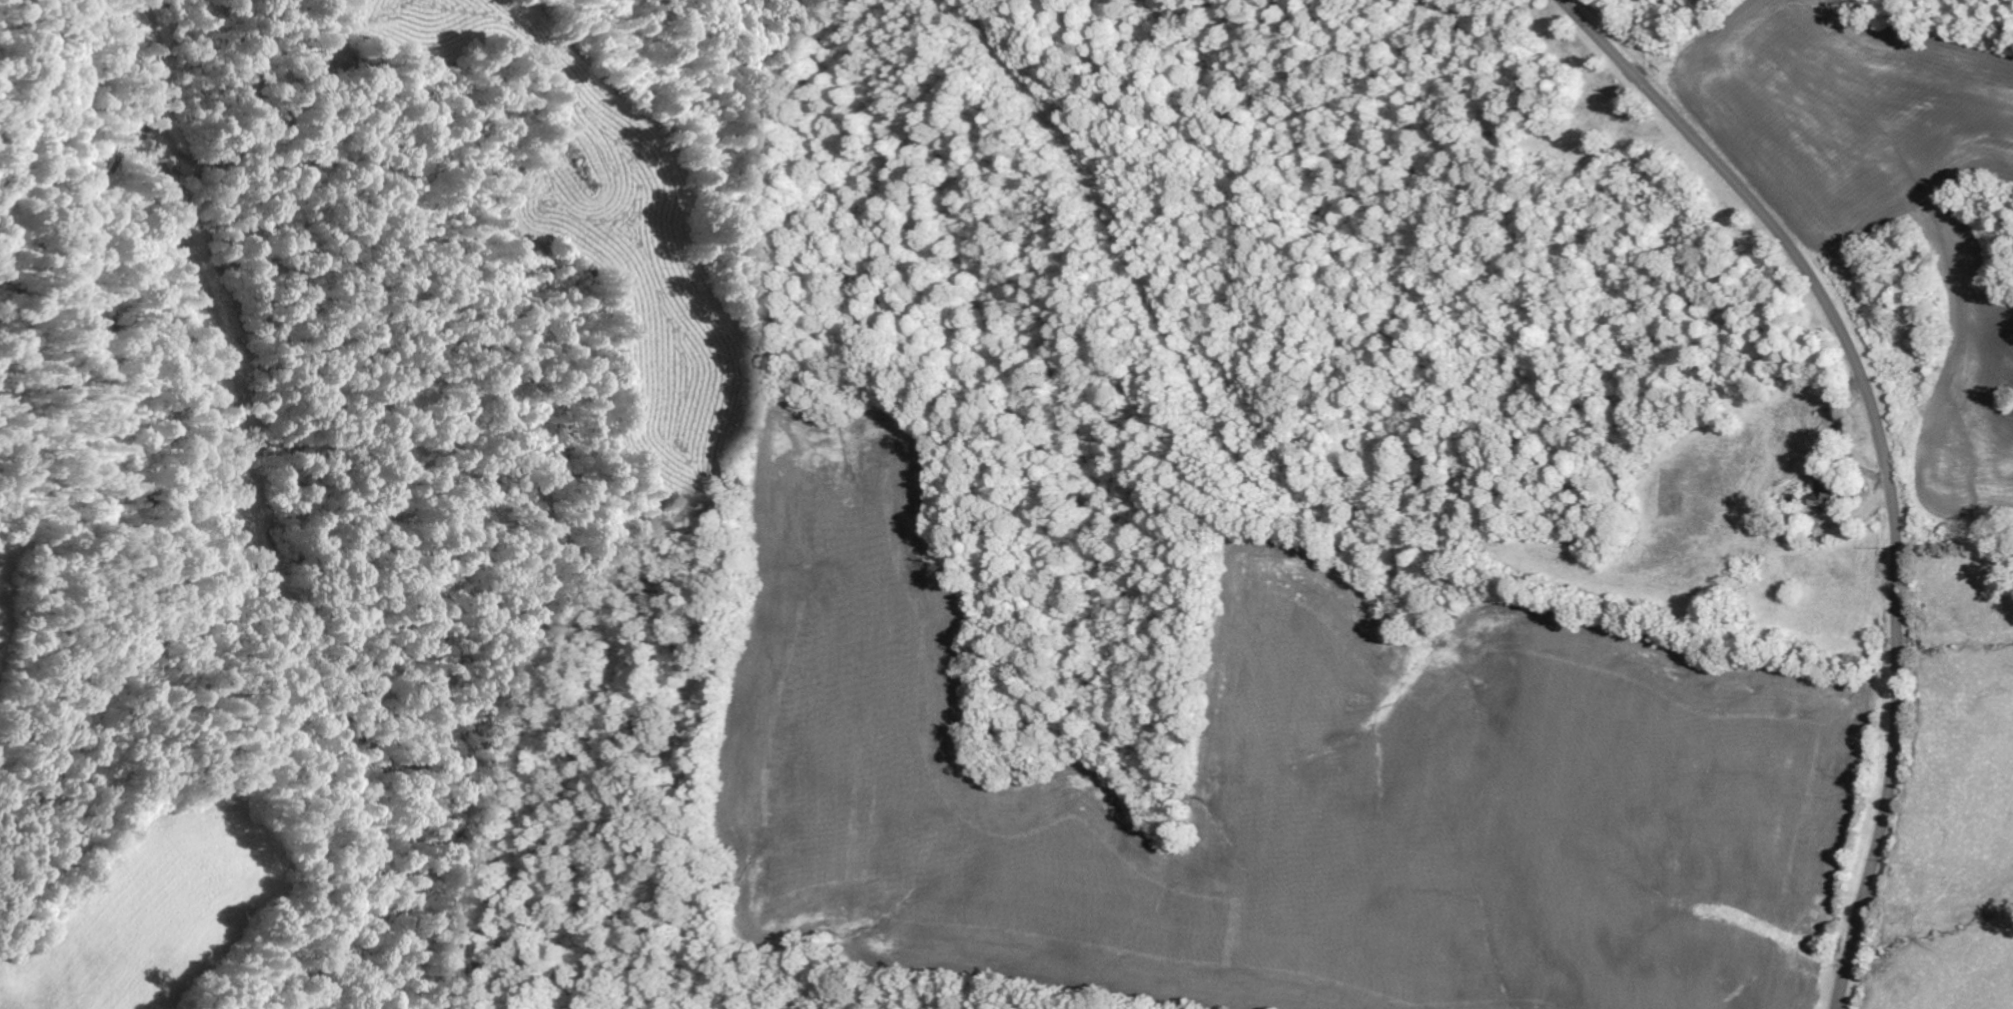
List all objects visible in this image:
road: (1886, 452)

